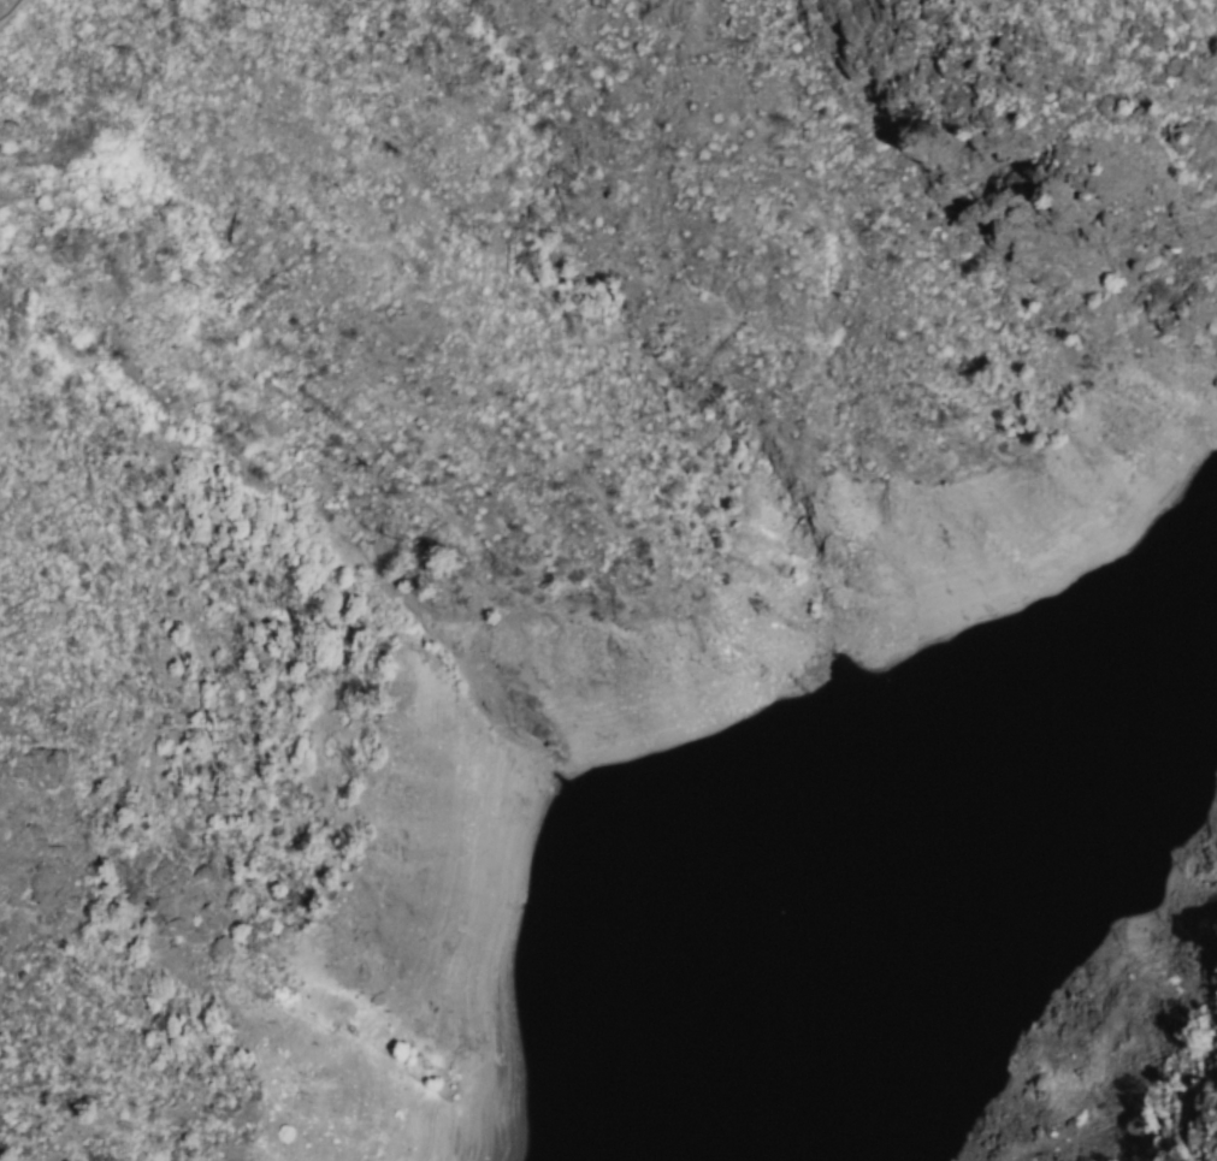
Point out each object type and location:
river: (928, 821)

